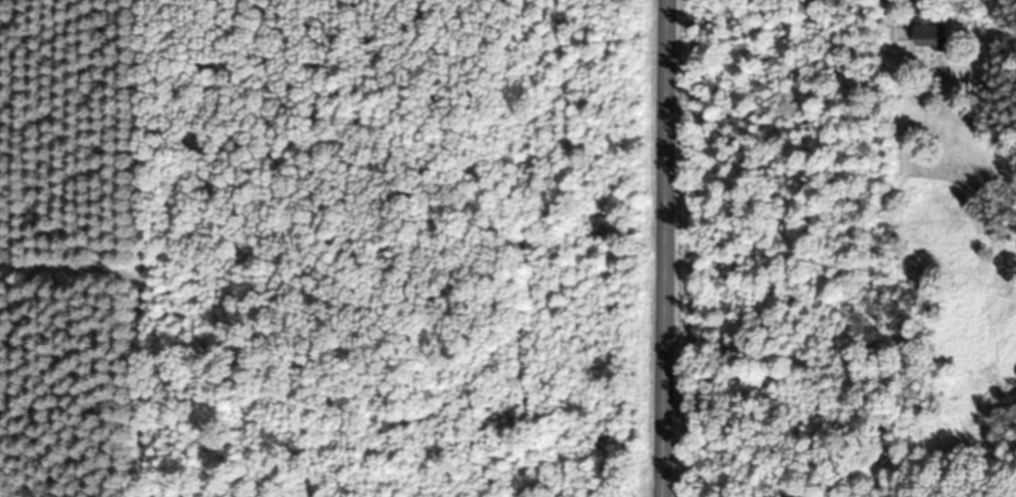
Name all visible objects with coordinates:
building: (929, 29)
road: (669, 248)

